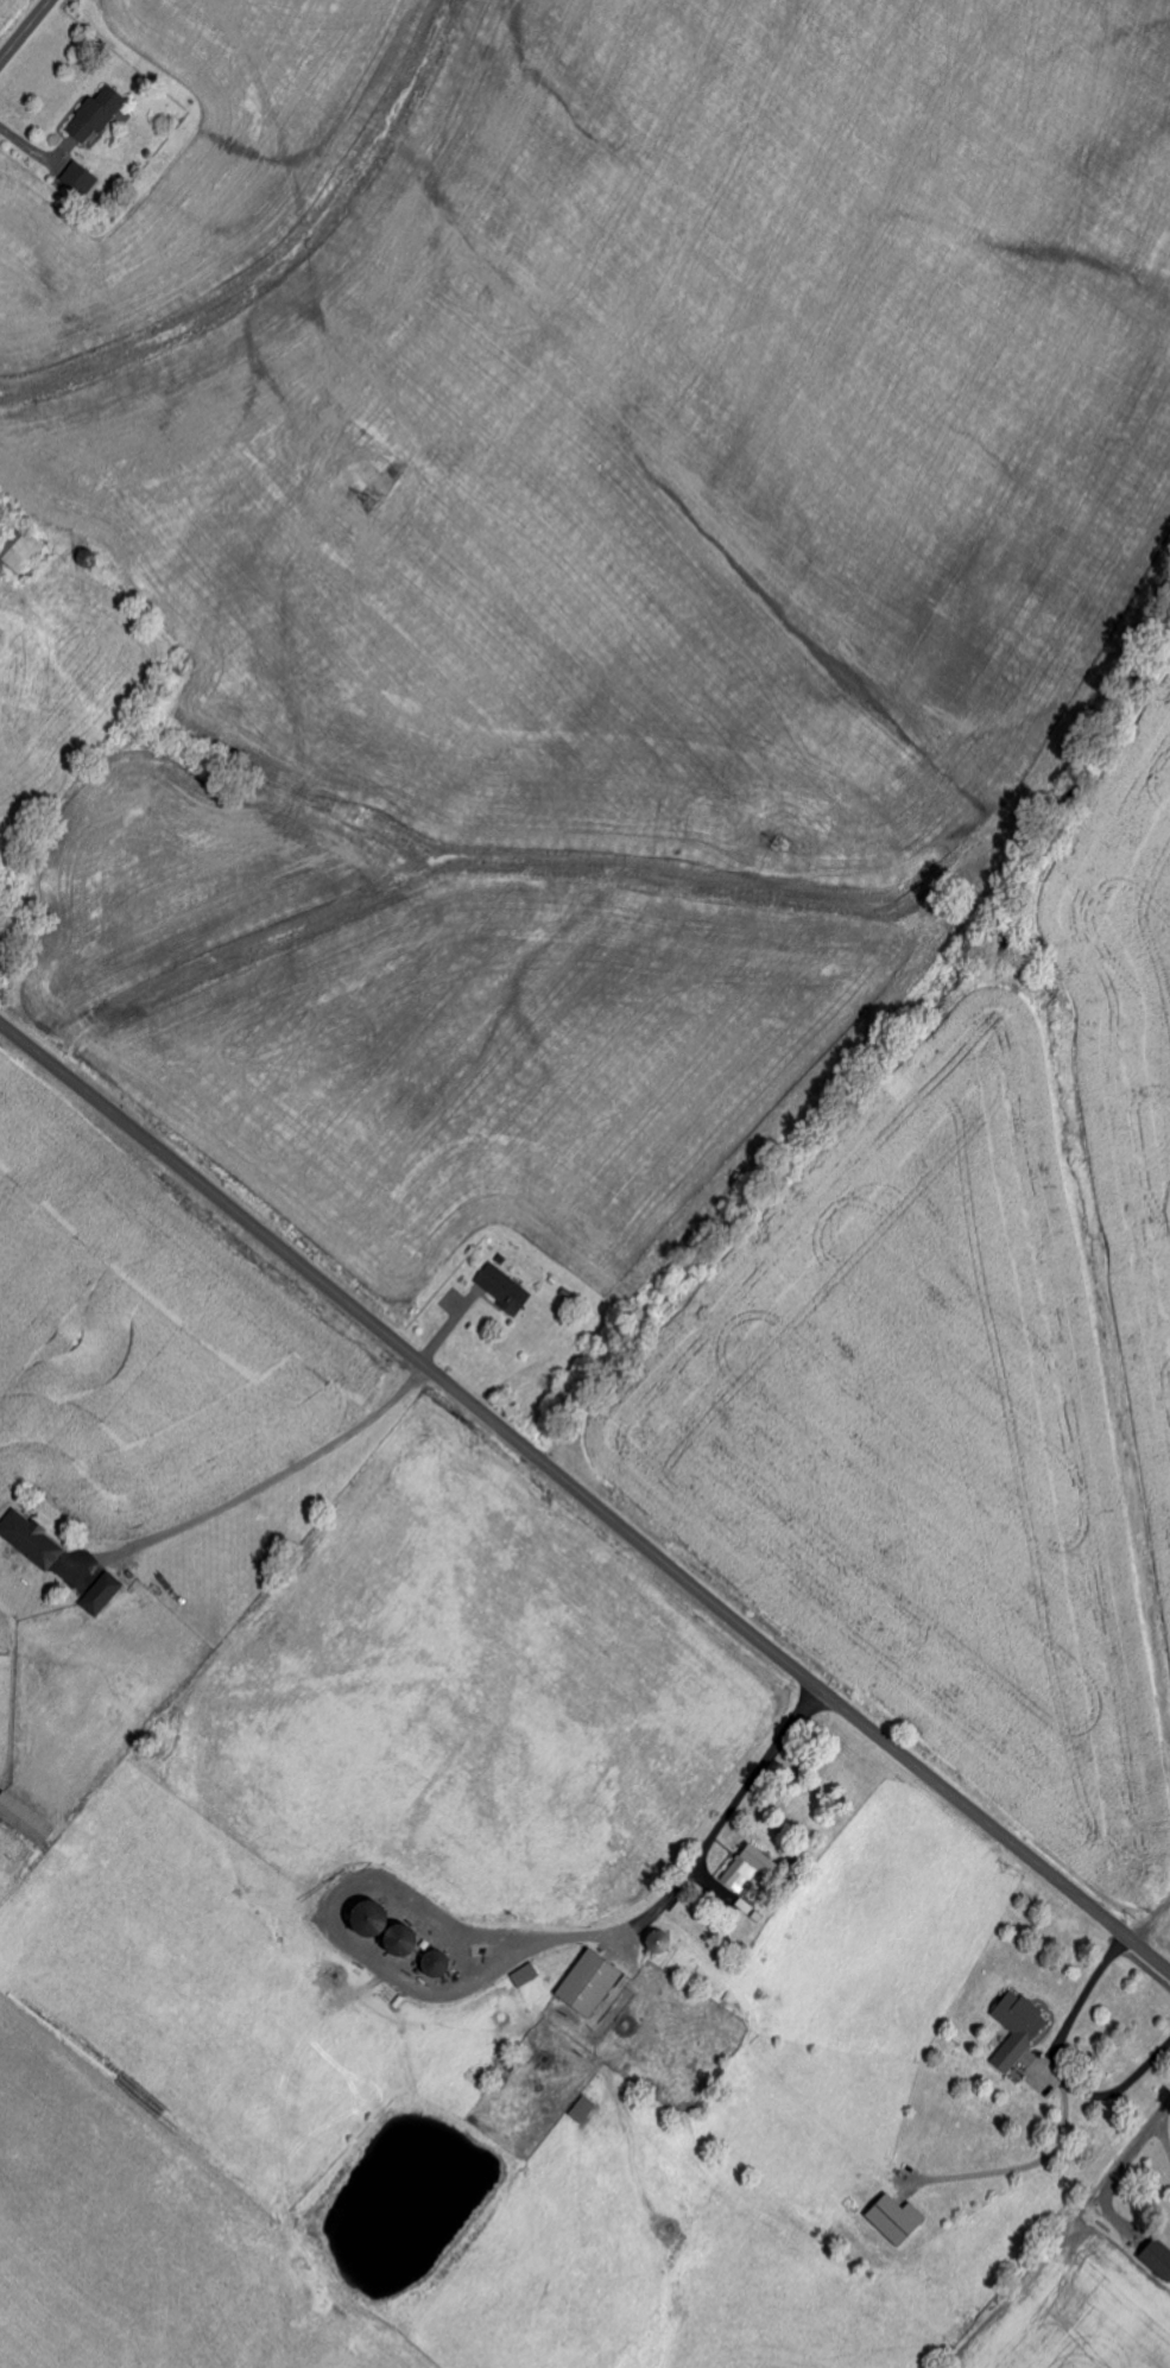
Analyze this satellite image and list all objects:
road: (25, 31)
building: (100, 114)
building: (24, 552)
building: (506, 1290)
road: (265, 1483)
road: (584, 1496)
building: (33, 1540)
building: (105, 1596)
building: (26, 1821)
building: (753, 1870)
building: (527, 1977)
building: (593, 1986)
building: (1020, 2028)
building: (586, 2110)
building: (899, 2220)
building: (1159, 2258)

